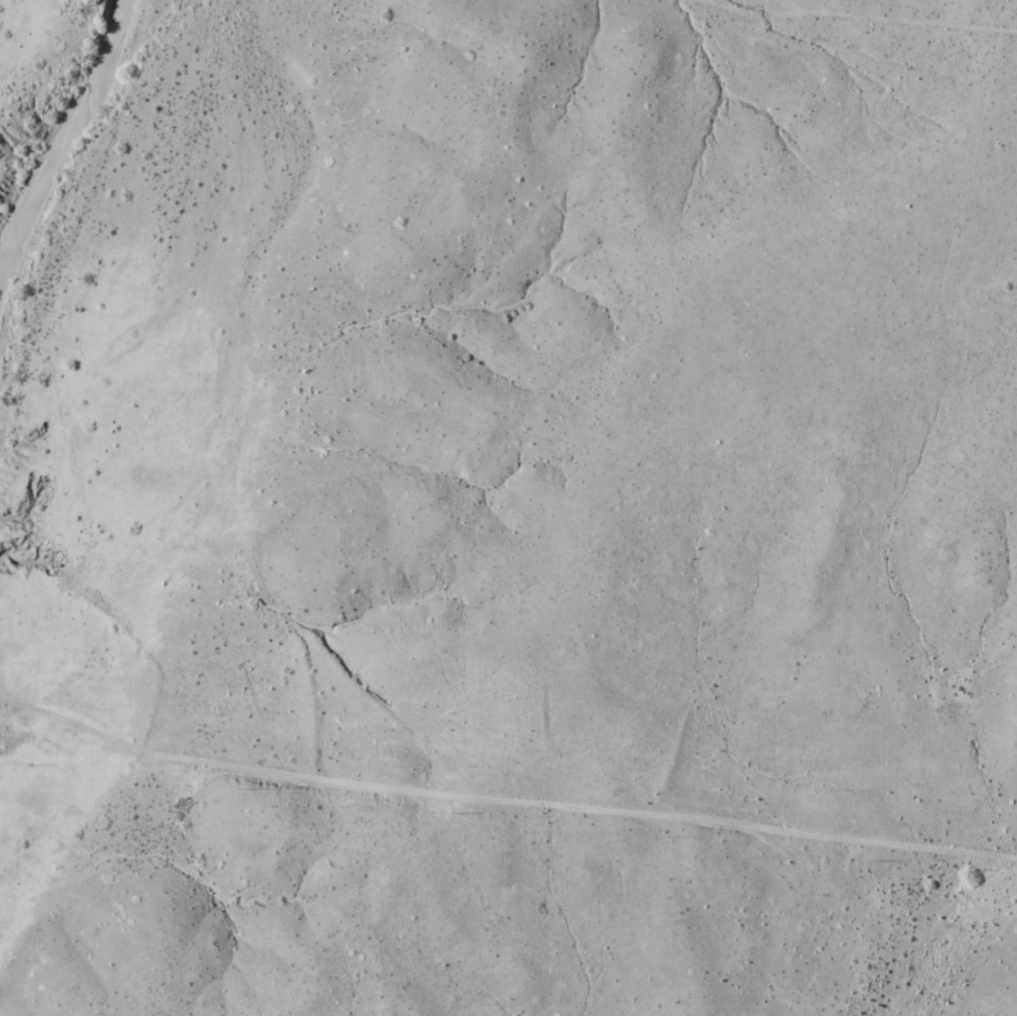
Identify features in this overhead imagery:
road: (508, 792)

